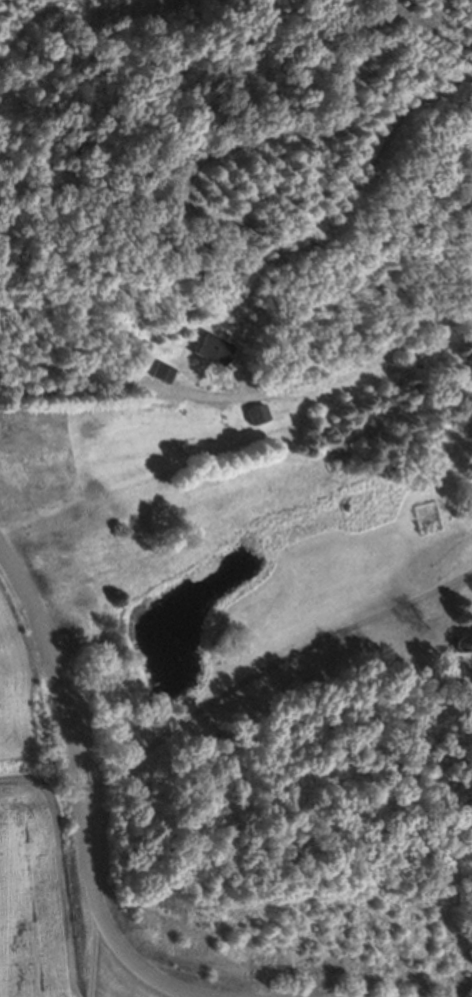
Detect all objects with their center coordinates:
building: (209, 349)
building: (163, 372)
road: (107, 387)
building: (256, 414)
building: (461, 642)
road: (269, 667)
road: (84, 798)
road: (96, 946)

